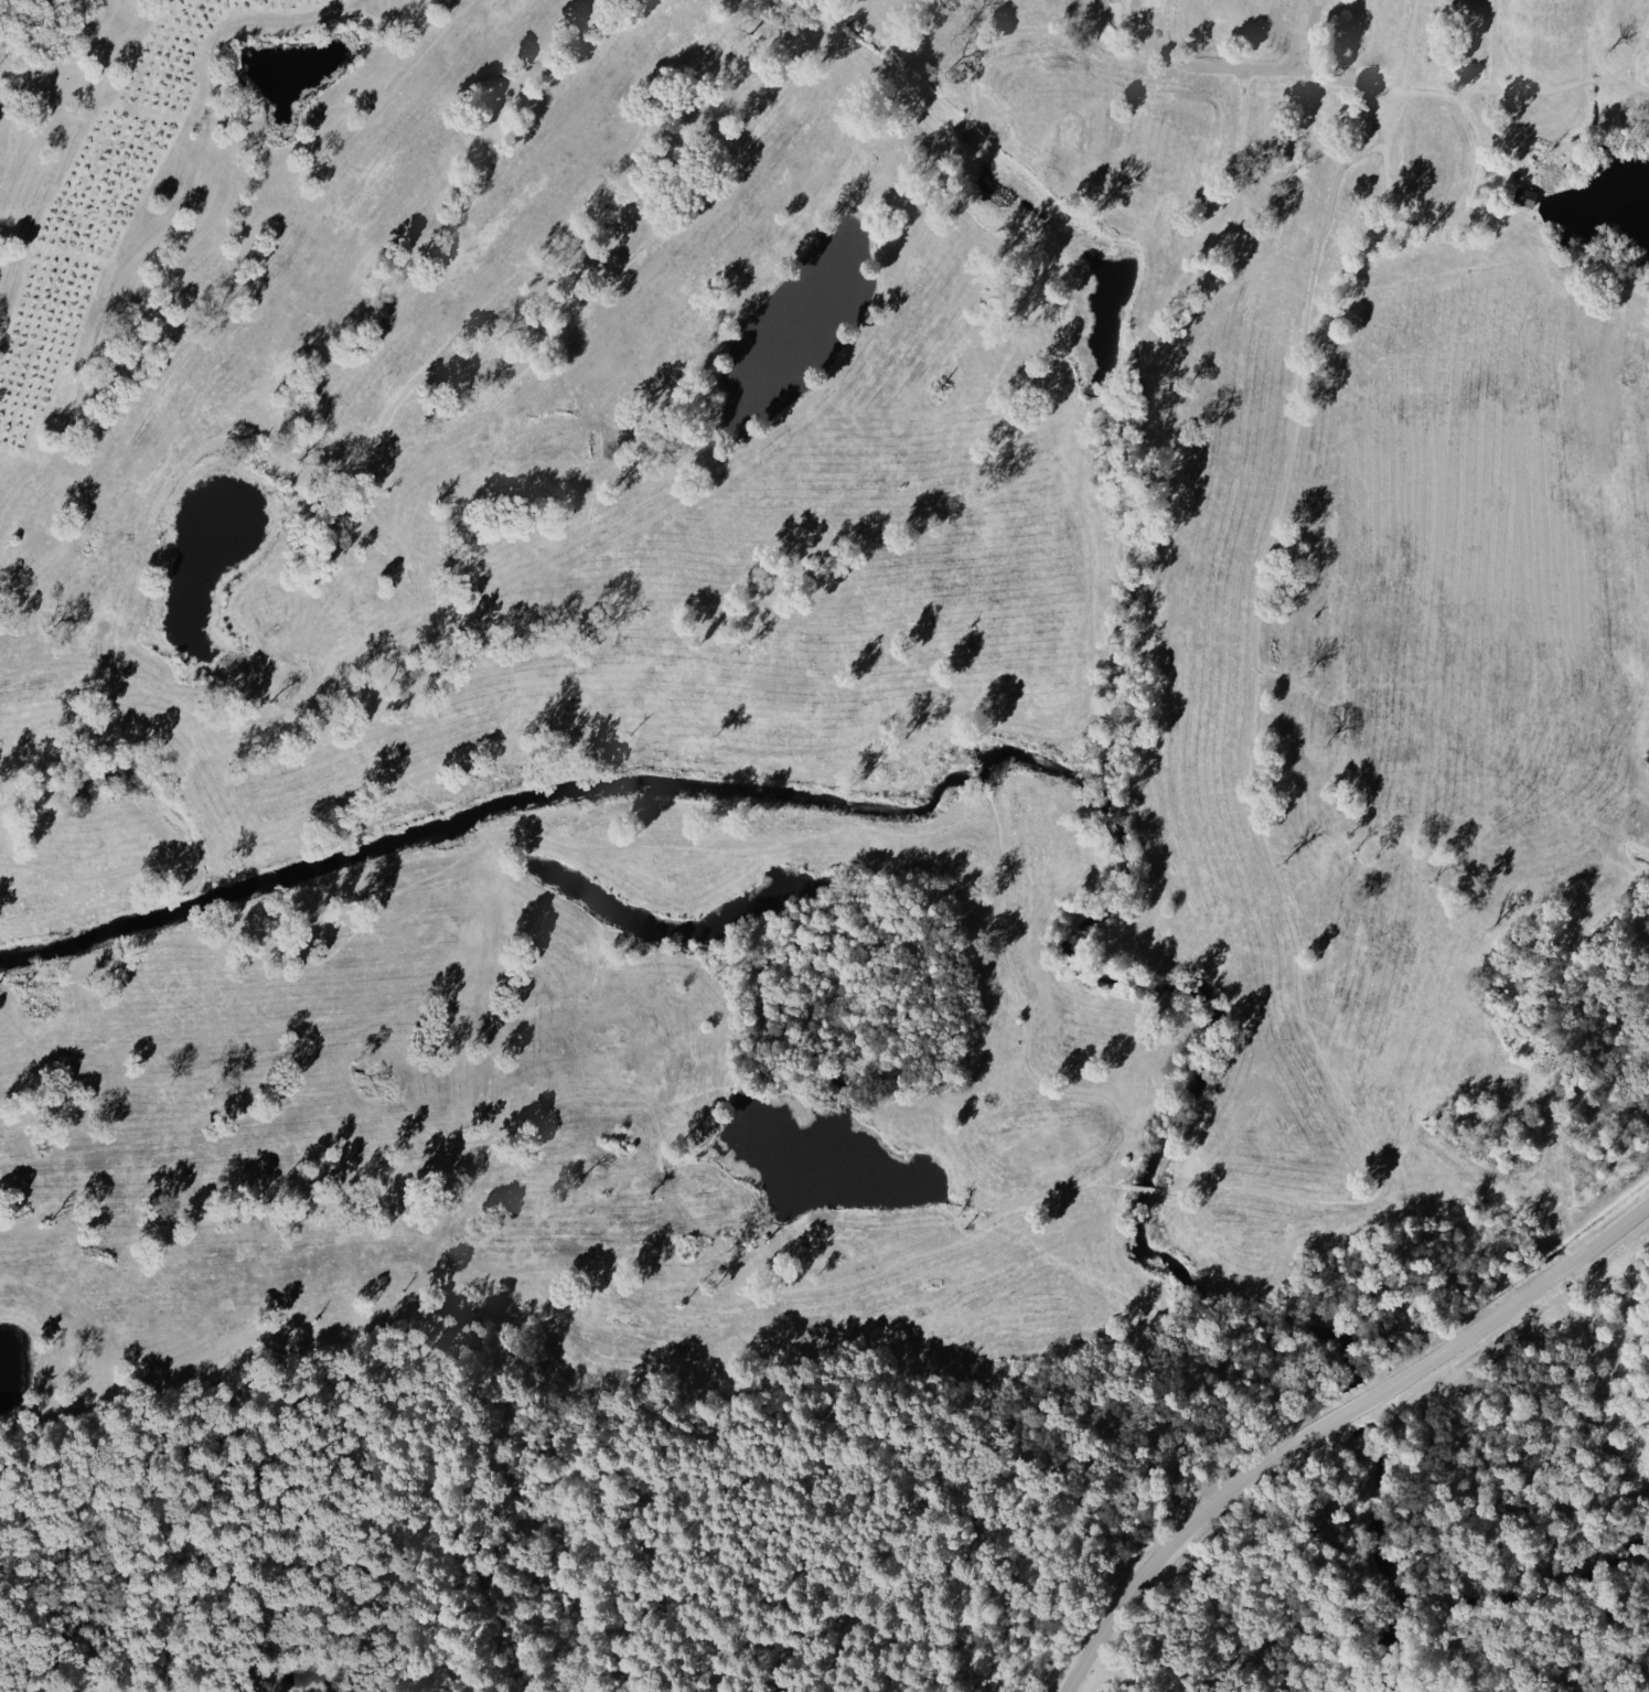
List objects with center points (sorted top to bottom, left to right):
road: (858, 1)
park: (1534, 4)
building: (1222, 17)
road: (843, 19)
road: (1035, 28)
road: (1639, 40)
road: (1407, 44)
road: (1331, 50)
road: (1495, 65)
road: (1232, 66)
road: (1634, 78)
road: (1341, 79)
road: (1625, 85)
road: (1564, 86)
road: (1638, 99)
park: (1029, 103)
road: (1481, 109)
road: (1370, 113)
road: (960, 129)
building: (1364, 131)
park: (1431, 156)
park: (1159, 163)
building: (1524, 196)
road: (1486, 213)
road: (1449, 214)
road: (162, 222)
road: (1228, 225)
road: (1538, 231)
building: (1448, 233)
road: (1531, 246)
road: (224, 304)
road: (1114, 384)
road: (395, 443)
park: (546, 446)
road: (548, 555)
park: (107, 574)
park: (309, 629)
road: (1092, 641)
park: (795, 668)
park: (786, 685)
road: (583, 751)
road: (973, 760)
road: (1249, 779)
road: (474, 842)
park: (824, 846)
road: (205, 859)
road: (98, 874)
river: (805, 1018)
road: (1028, 1025)
park: (647, 1043)
road: (336, 1091)
road: (649, 1106)
park: (1261, 1115)
road: (656, 1134)
park: (1048, 1146)
road: (664, 1165)
road: (1136, 1187)
road: (811, 1231)
road: (559, 1266)
road: (450, 1309)
park: (612, 1345)
river: (1358, 1405)
road: (1332, 1425)
river: (1439, 1603)

